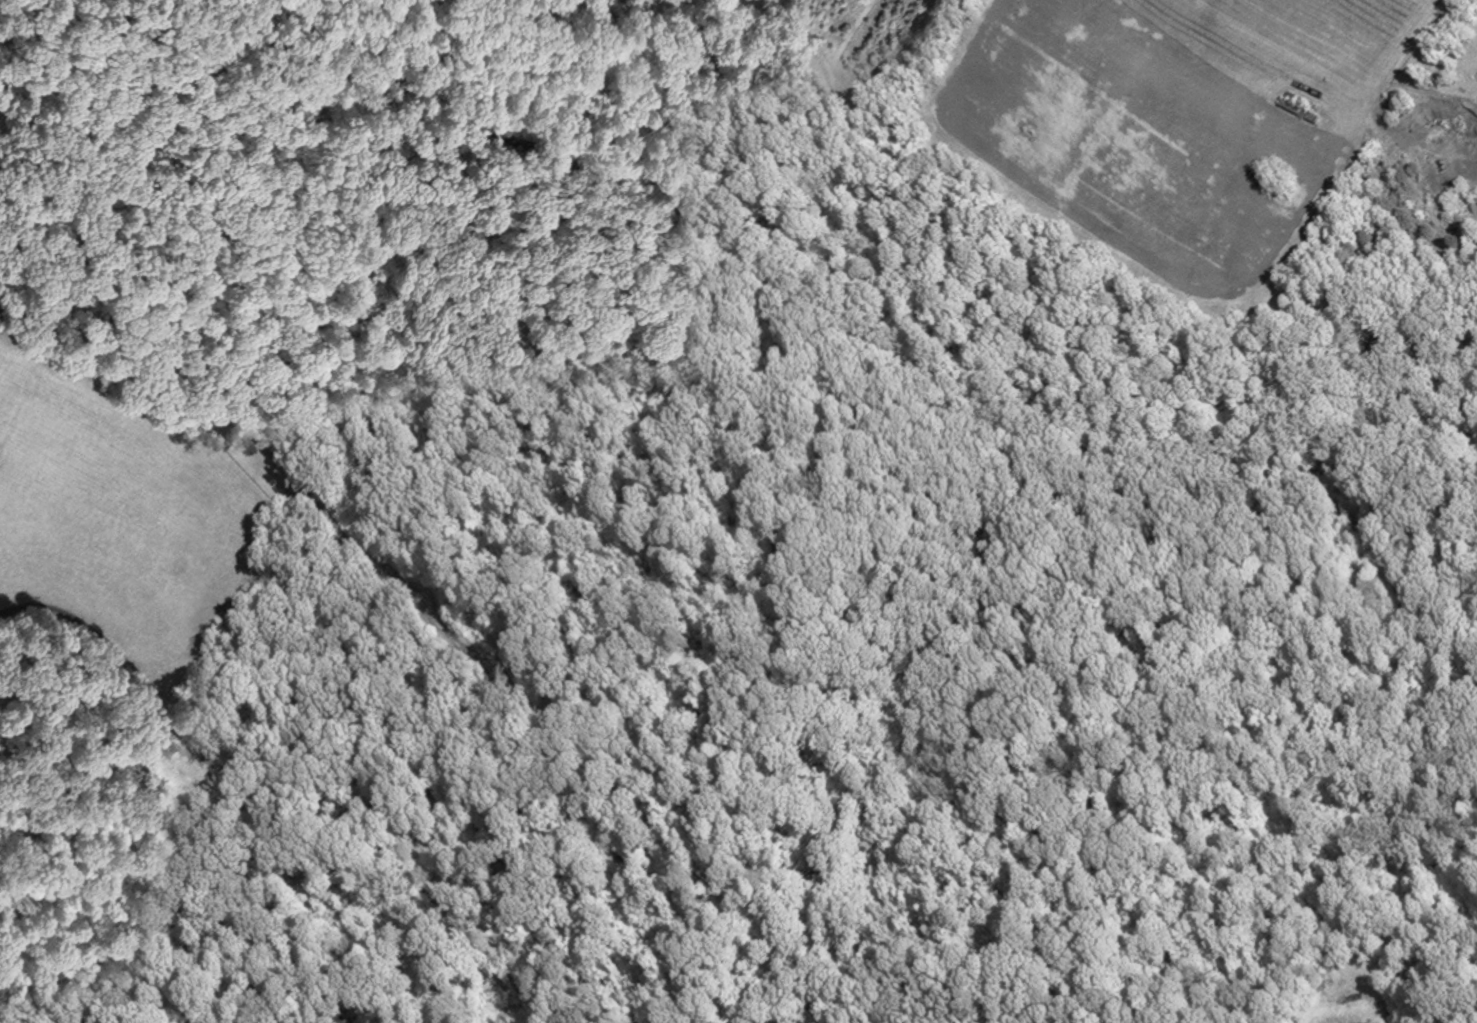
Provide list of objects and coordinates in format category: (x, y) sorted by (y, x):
building: (1395, 3)
building: (1293, 106)
road: (12, 132)

